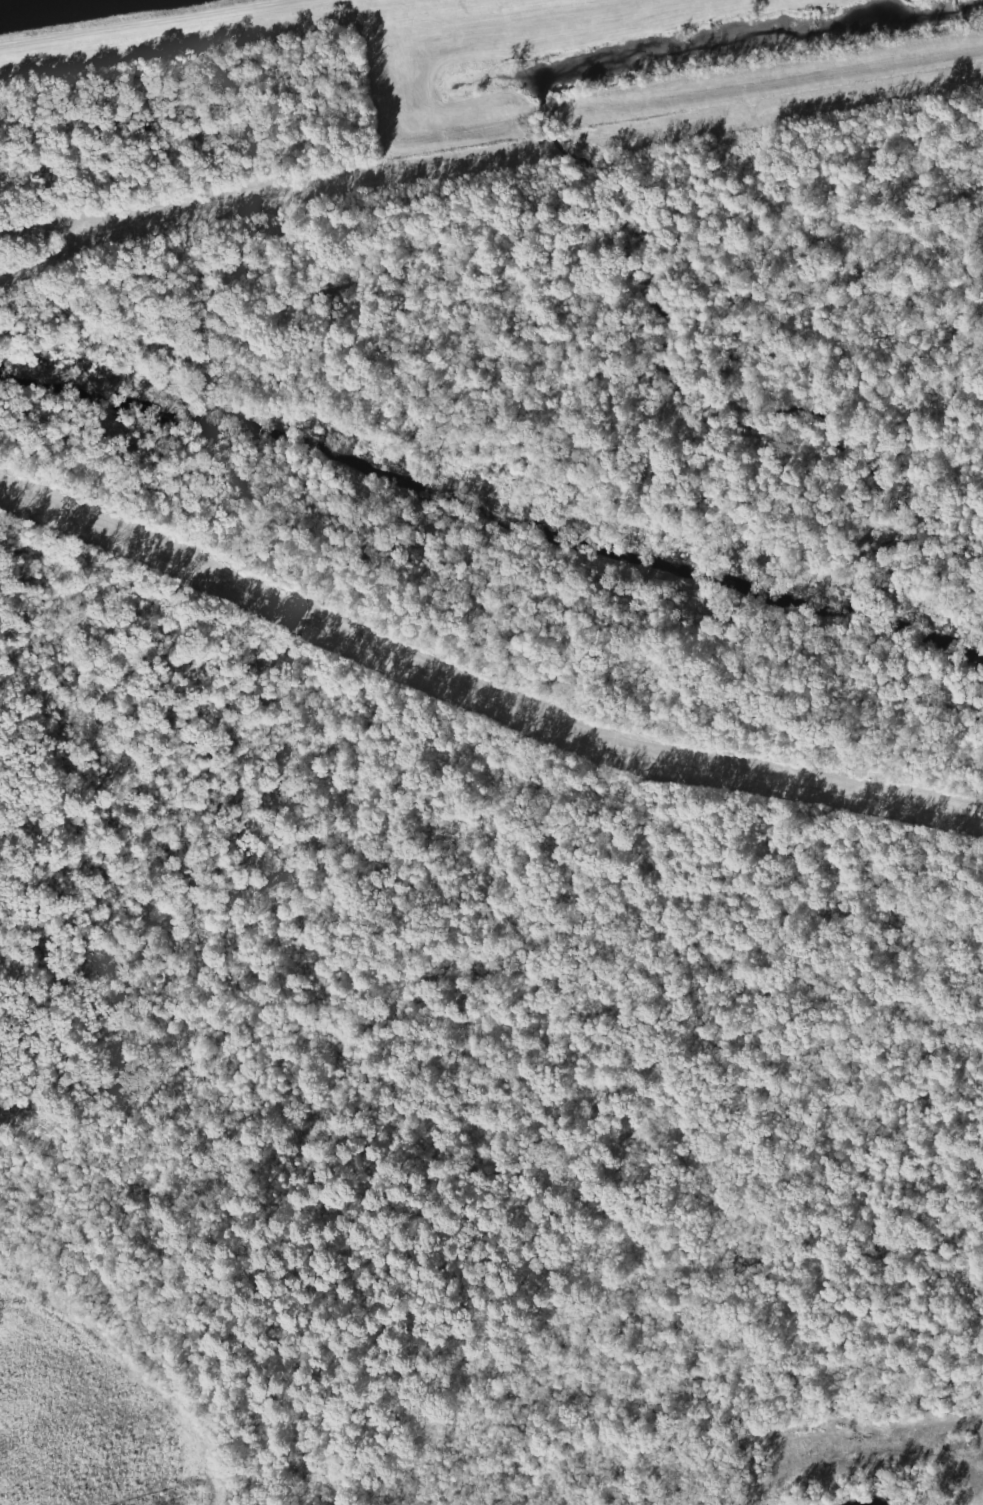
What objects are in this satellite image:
road: (130, 1364)

